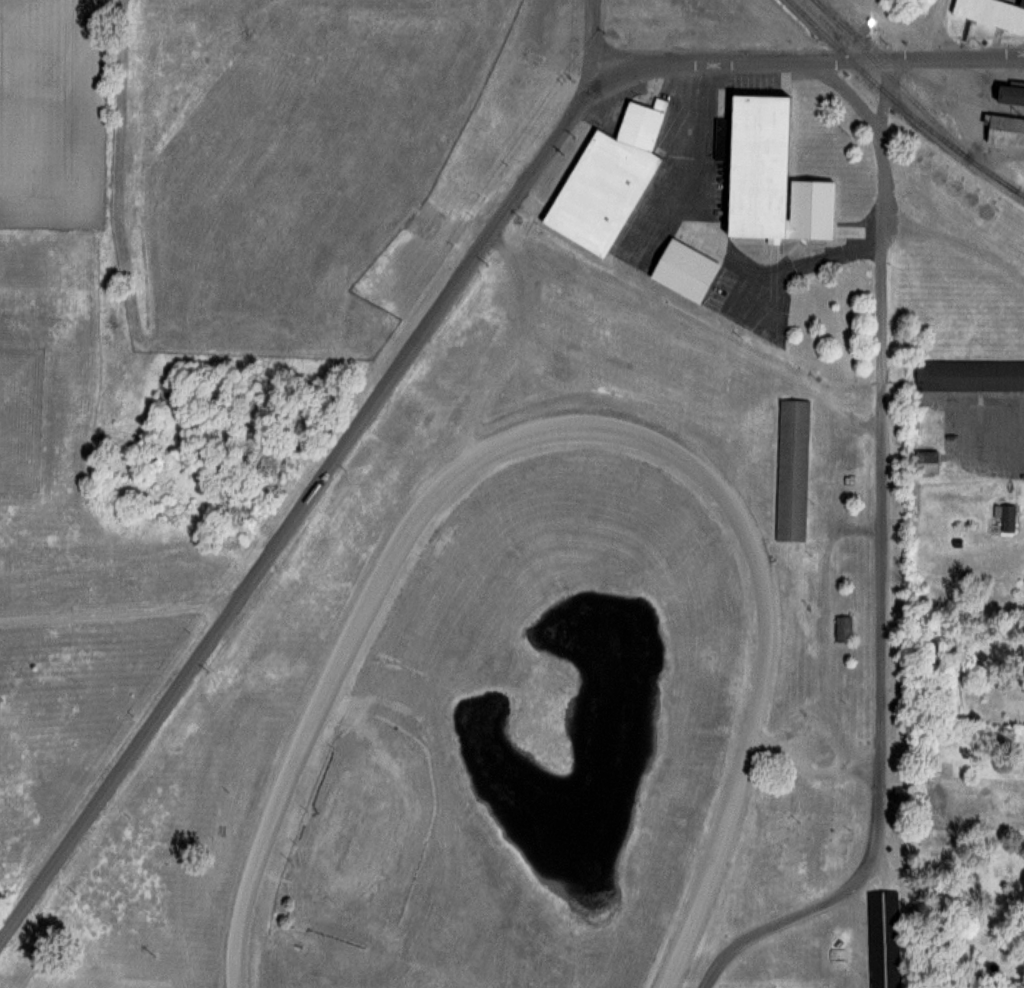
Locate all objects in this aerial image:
building: (991, 13)
road: (932, 30)
road: (804, 61)
railway: (922, 79)
railway: (905, 91)
building: (1007, 95)
railway: (901, 104)
building: (1003, 131)
building: (765, 174)
building: (605, 180)
building: (682, 271)
building: (624, 341)
building: (968, 375)
building: (924, 462)
building: (791, 470)
road: (321, 481)
road: (880, 567)
road: (118, 612)
building: (843, 628)
park: (544, 689)
track: (322, 710)
building: (882, 939)

